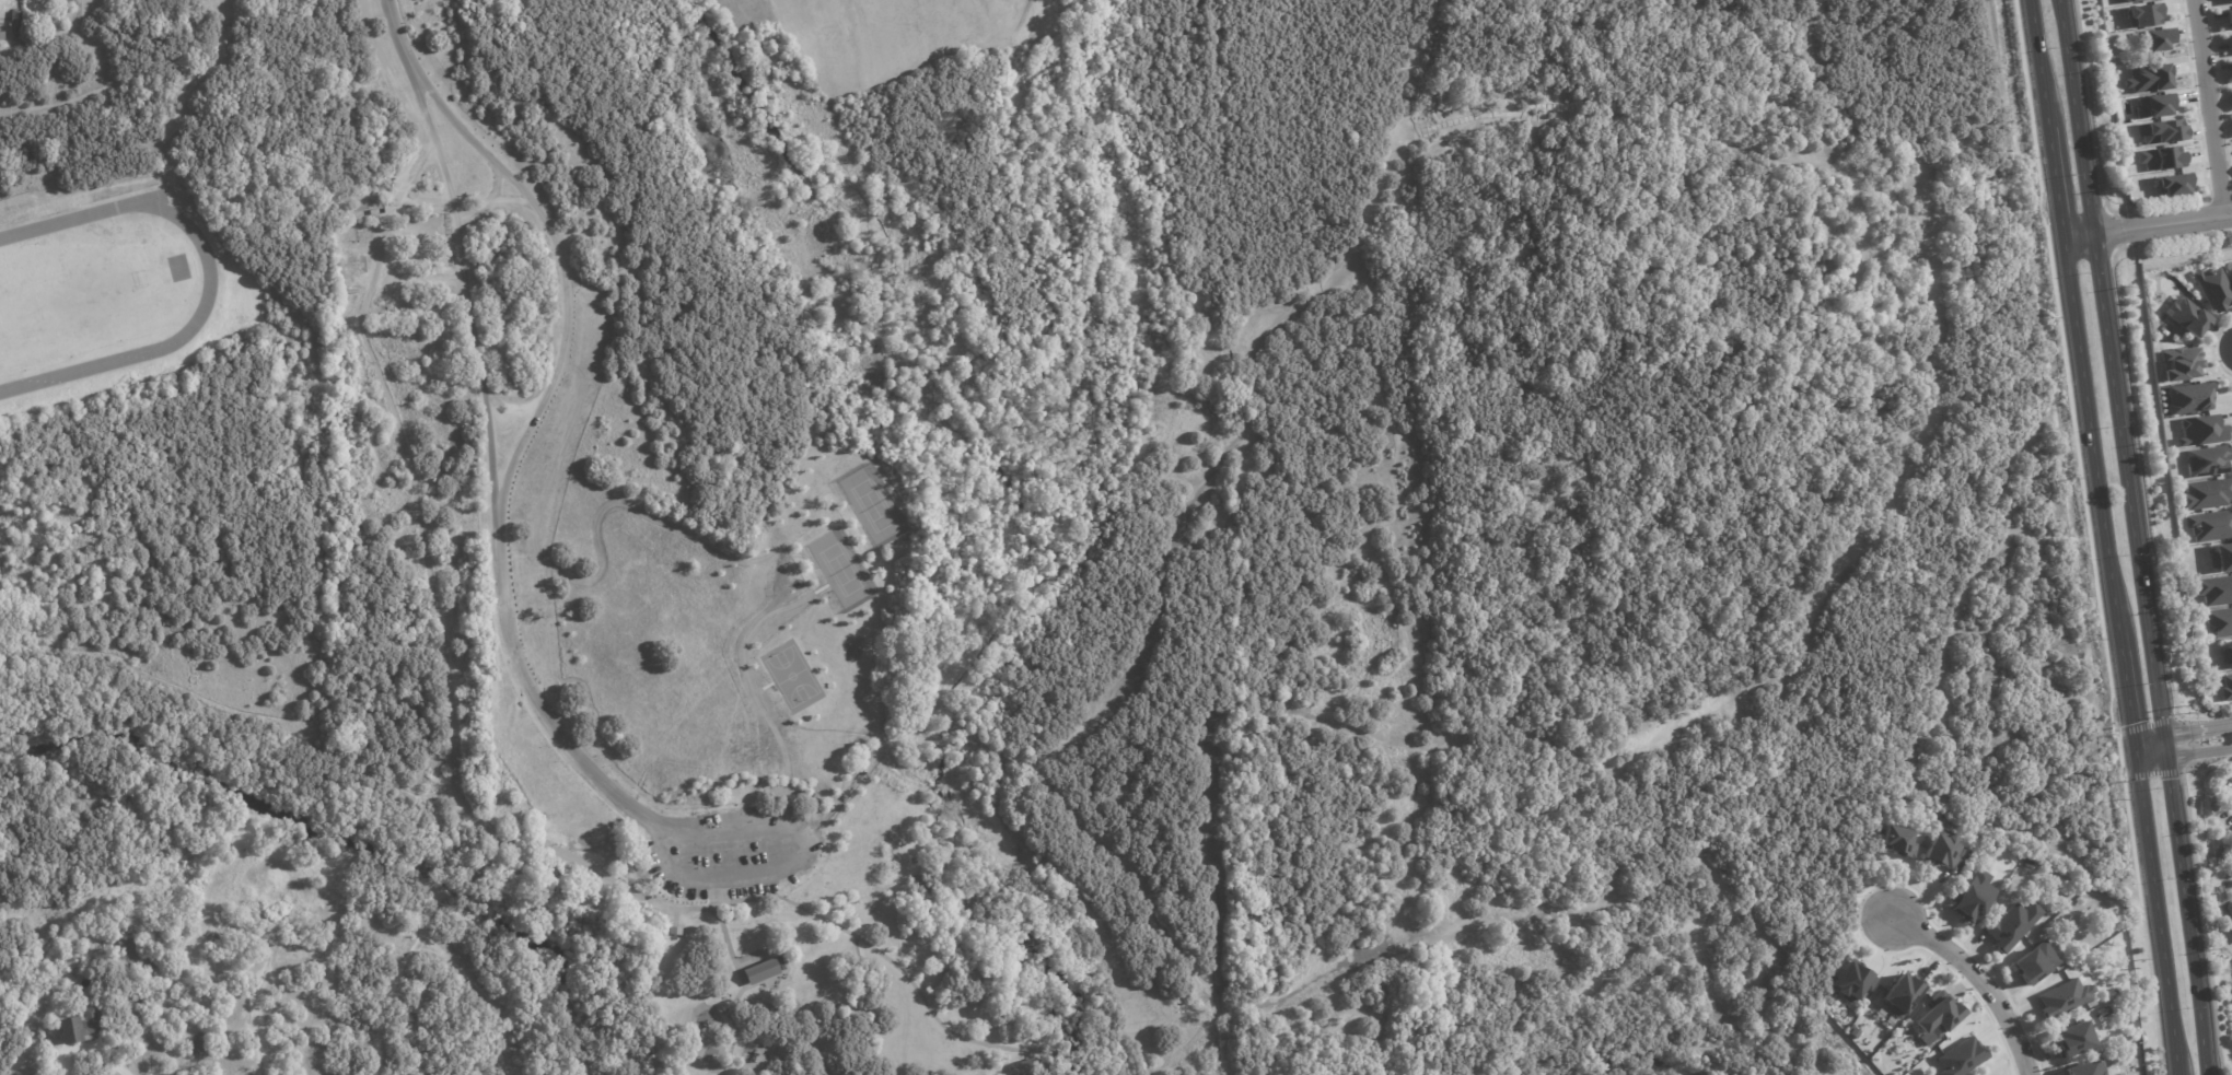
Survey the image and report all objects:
building: (28, 0)
building: (2129, 0)
building: (2229, 1)
building: (2142, 14)
building: (2229, 16)
building: (18, 20)
park: (884, 32)
road: (394, 34)
road: (376, 40)
building: (2230, 42)
road: (1406, 68)
road: (2034, 71)
building: (2153, 105)
road: (2209, 108)
building: (2161, 131)
road: (1733, 137)
building: (2136, 144)
road: (428, 150)
building: (2160, 159)
road: (1910, 167)
road: (407, 173)
building: (2172, 185)
road: (2051, 191)
road: (421, 200)
road: (488, 203)
road: (2144, 226)
road: (558, 274)
track: (206, 288)
building: (2213, 289)
road: (463, 290)
park: (71, 299)
building: (2188, 317)
building: (2179, 363)
building: (2188, 398)
road: (512, 408)
building: (2200, 431)
road: (2088, 445)
road: (2021, 446)
building: (2207, 460)
road: (1218, 466)
building: (2207, 494)
park: (873, 504)
road: (418, 525)
building: (2210, 525)
park: (1163, 526)
road: (2056, 533)
road: (2137, 537)
building: (2221, 558)
park: (841, 568)
building: (2216, 591)
road: (1960, 615)
building: (2219, 621)
building: (2228, 654)
park: (791, 675)
road: (749, 682)
road: (763, 687)
building: (2225, 688)
road: (2125, 696)
road: (314, 712)
road: (2182, 733)
traffic signals: (2164, 736)
road: (1435, 737)
road: (933, 738)
traffic signals: (2131, 740)
road: (964, 744)
road: (984, 747)
road: (243, 755)
road: (2183, 756)
traffic signals: (2169, 758)
road: (888, 762)
traffic signals: (2135, 763)
road: (1931, 786)
road: (943, 791)
road: (841, 793)
road: (644, 818)
building: (1899, 841)
parking lot: (731, 849)
building: (1942, 850)
road: (553, 851)
building: (2231, 866)
road: (1132, 874)
road: (443, 893)
building: (1972, 897)
road: (2152, 907)
building: (2230, 909)
road: (699, 910)
road: (1698, 912)
park: (742, 923)
building: (2010, 924)
building: (2231, 924)
road: (1463, 926)
building: (677, 932)
building: (305, 957)
building: (2034, 962)
building: (764, 972)
building: (337, 973)
building: (1851, 983)
road: (1984, 983)
road: (470, 985)
building: (1900, 994)
road: (386, 995)
building: (2061, 998)
building: (1937, 1017)
building: (80, 1028)
building: (2071, 1039)
road: (1218, 1045)
road: (88, 1047)
building: (1960, 1058)
building: (1024, 1067)
building: (2085, 1068)

